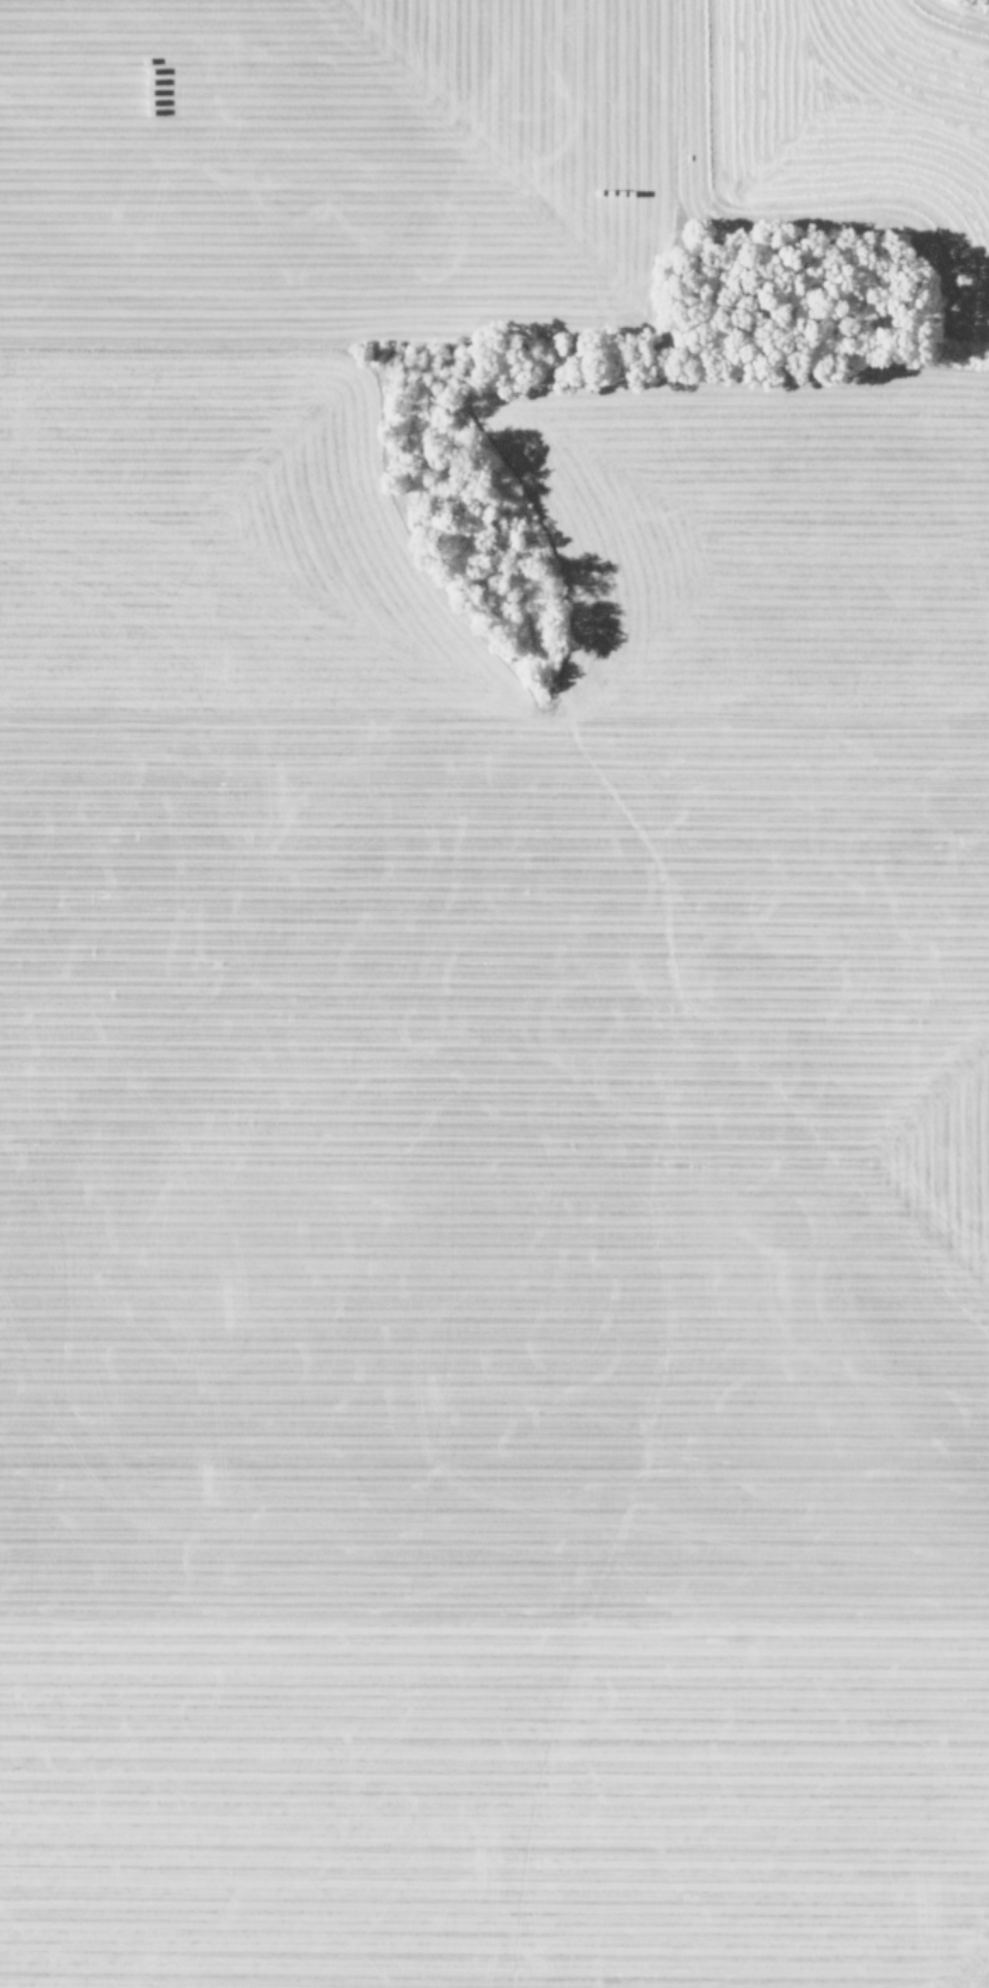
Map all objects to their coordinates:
crop: (487, 1025)

